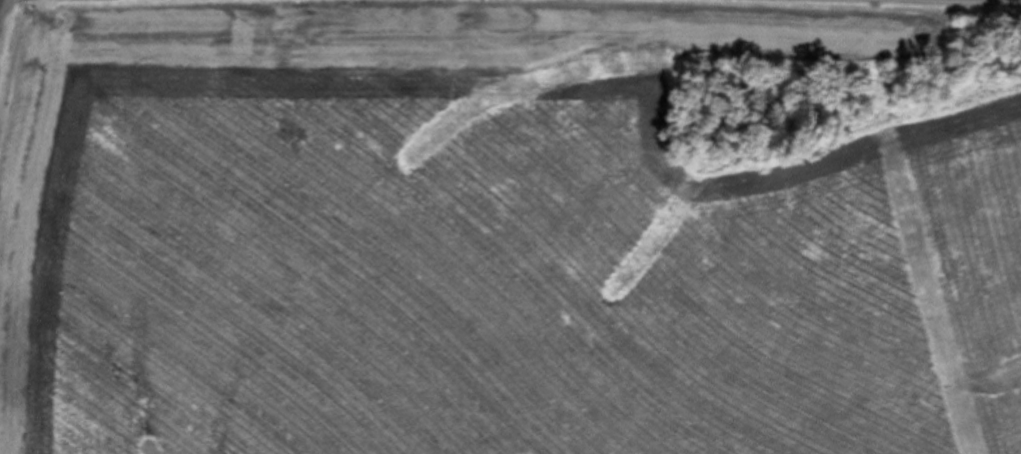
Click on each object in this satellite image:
road: (987, 1)

